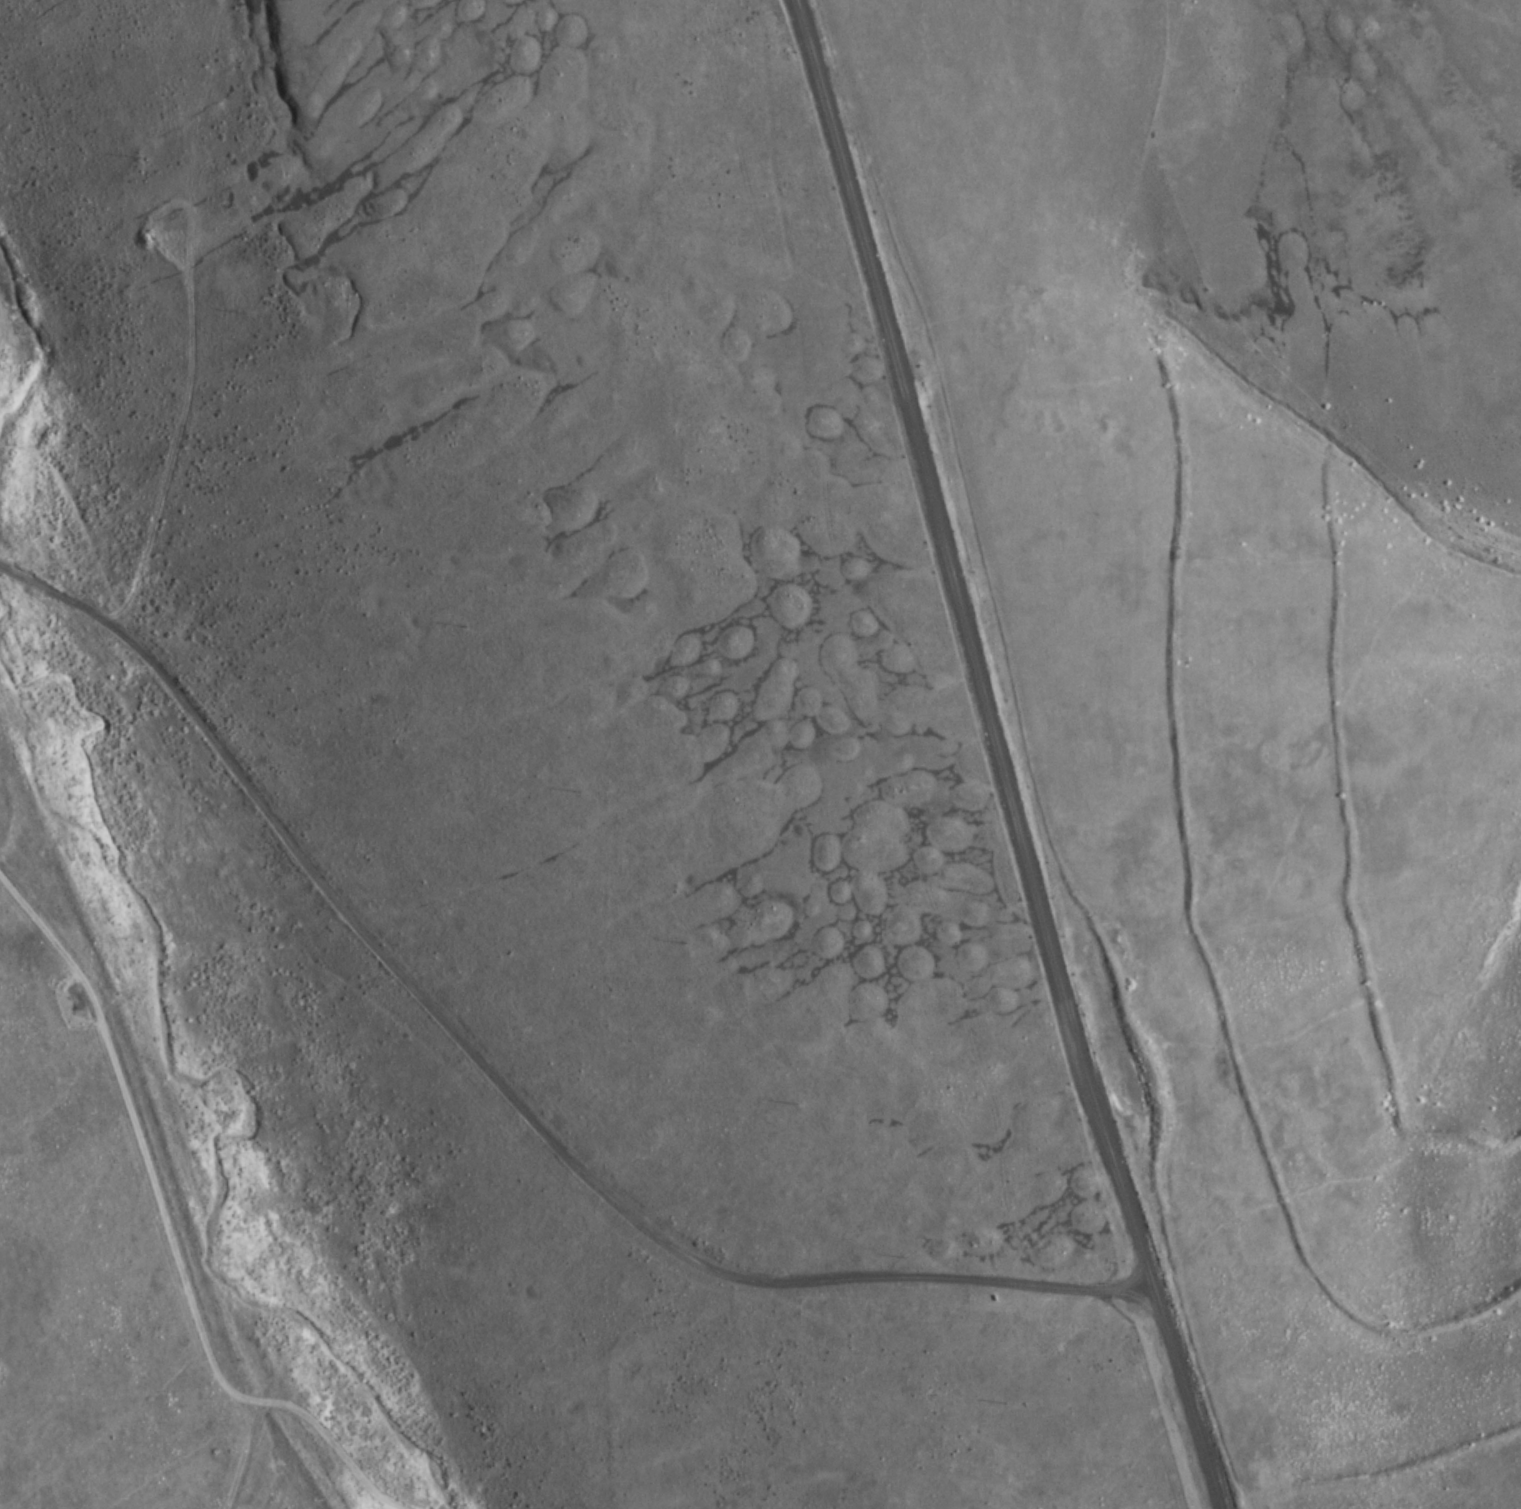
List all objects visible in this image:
road: (1000, 758)
road: (501, 1080)

